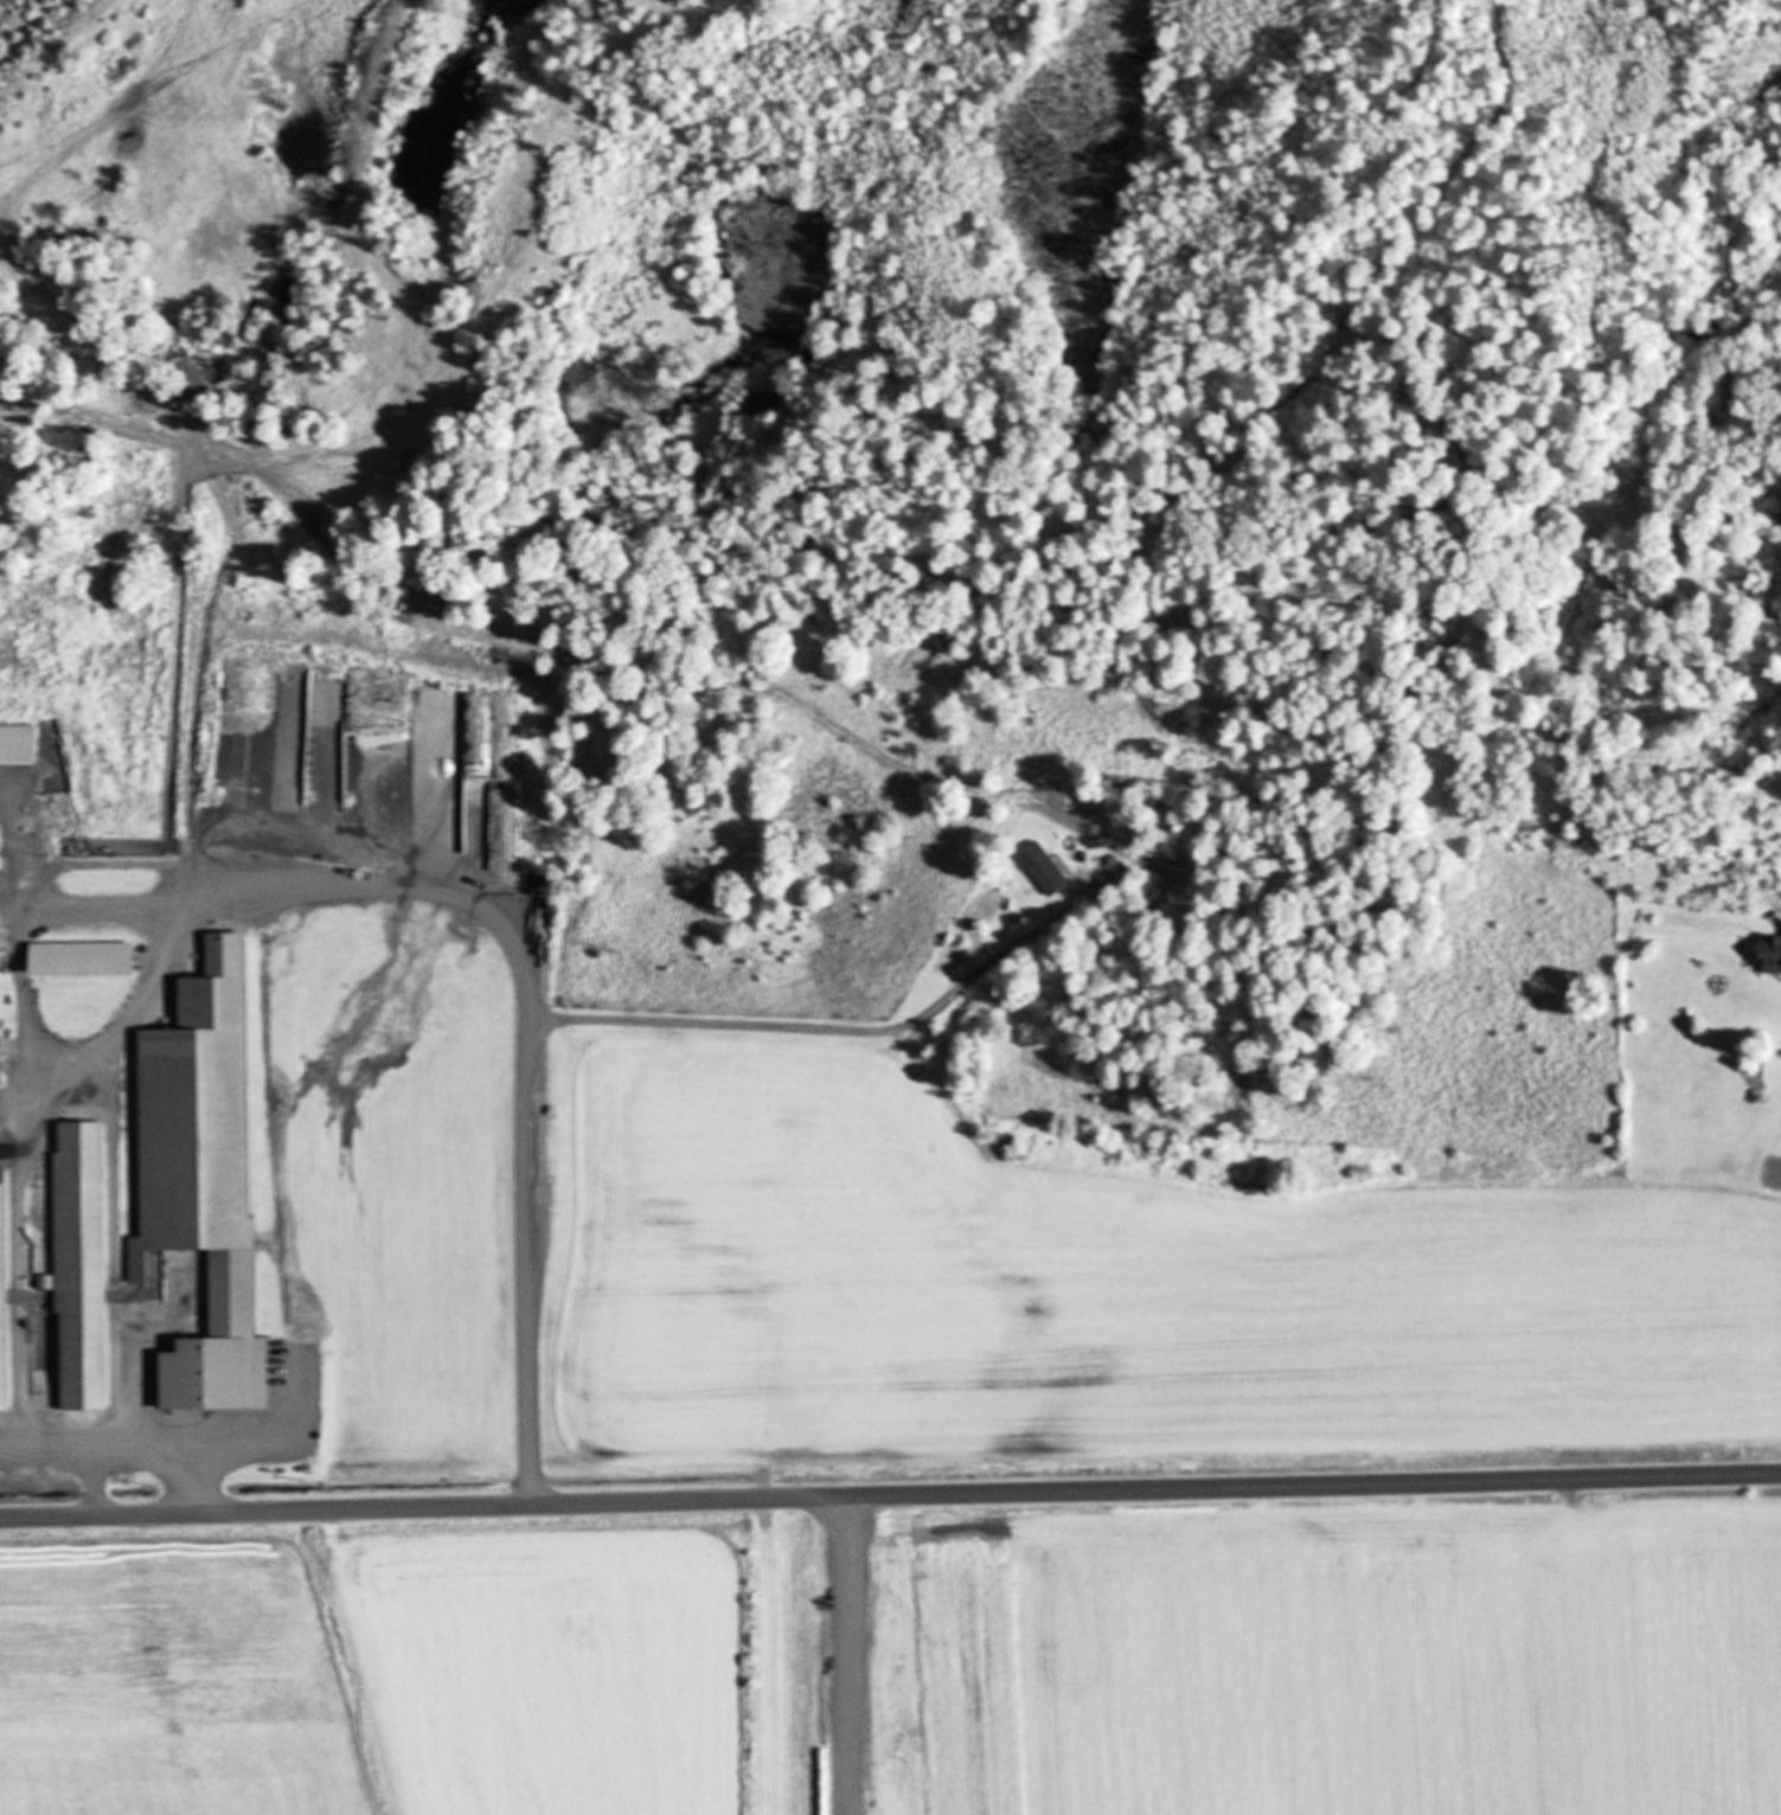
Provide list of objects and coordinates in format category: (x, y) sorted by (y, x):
building: (33, 830)
building: (1046, 870)
road: (332, 880)
building: (1772, 956)
building: (78, 958)
road: (799, 1030)
building: (0, 1051)
building: (83, 1263)
building: (5, 1303)
road: (53, 1443)
road: (890, 1495)
road: (843, 1655)

